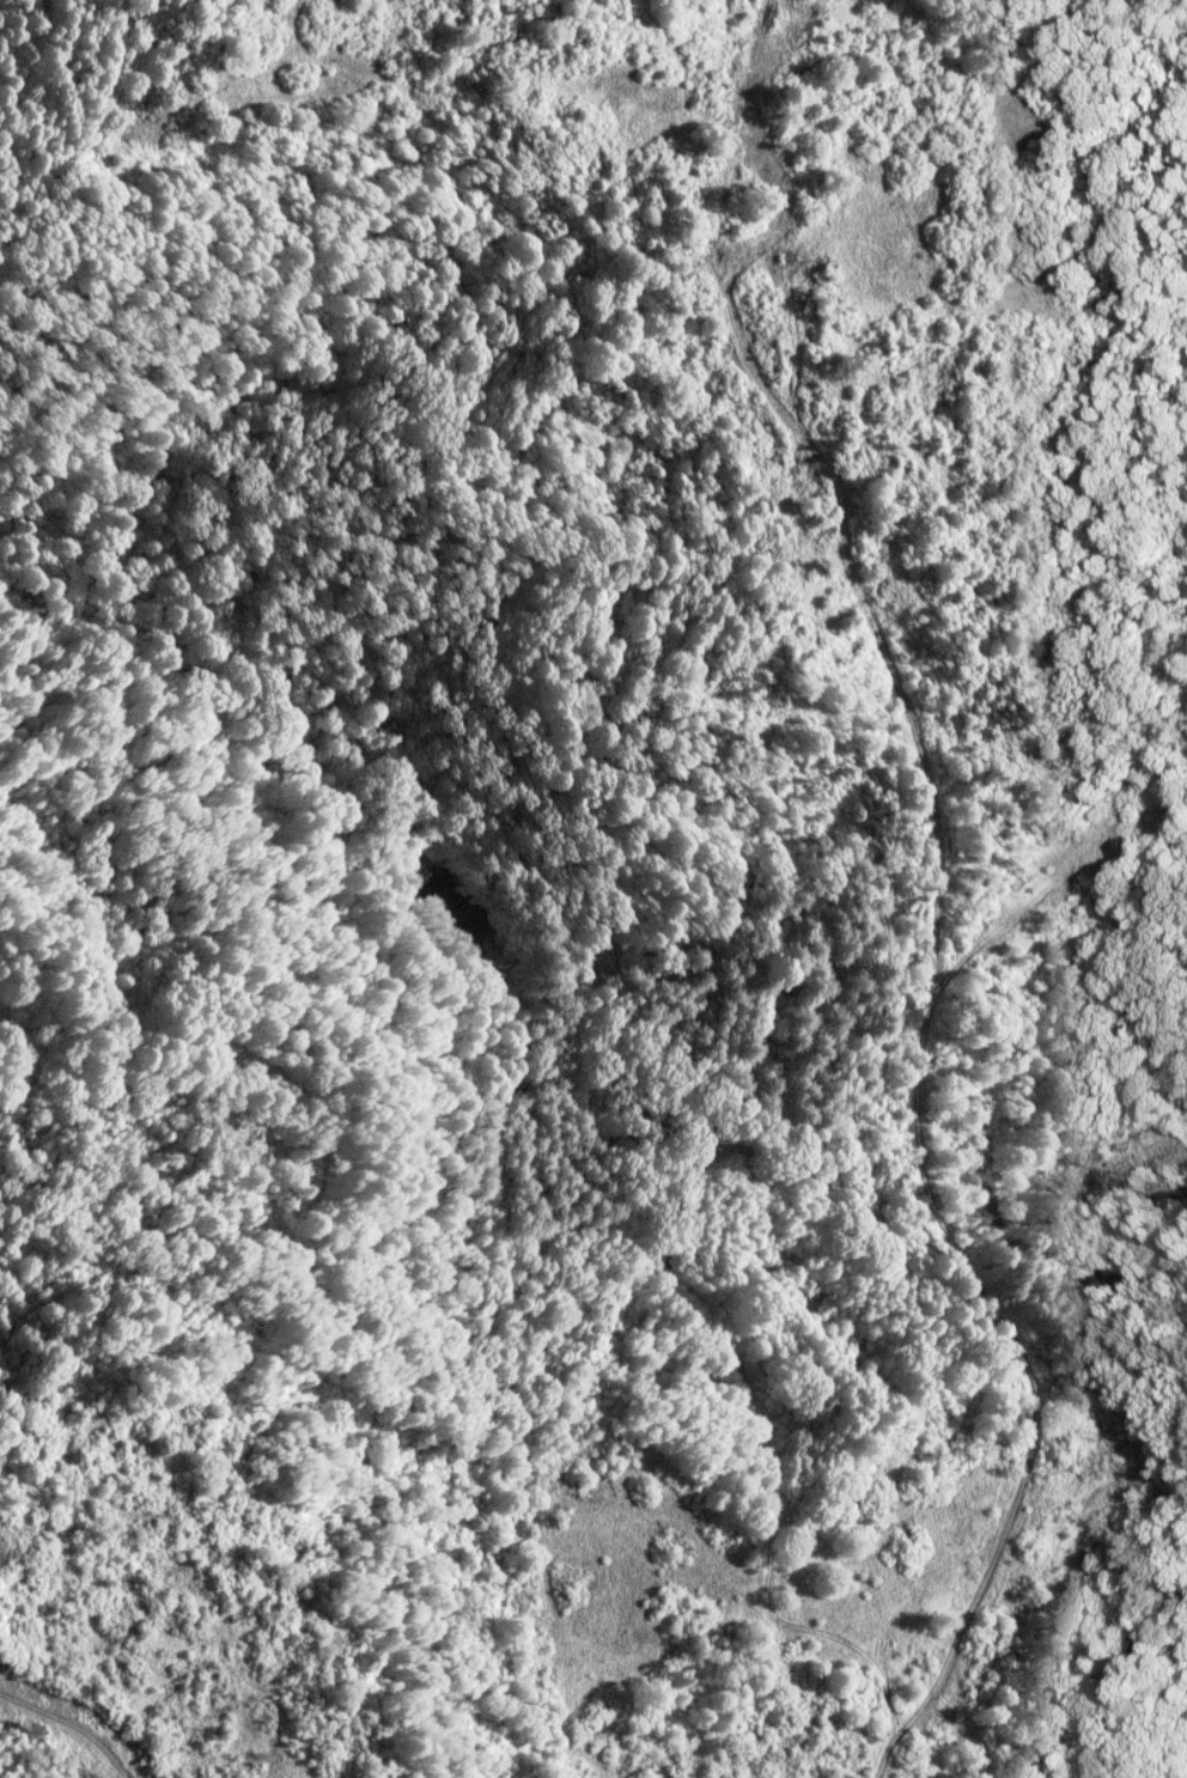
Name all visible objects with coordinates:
road: (267, 663)
quarry: (793, 1572)

